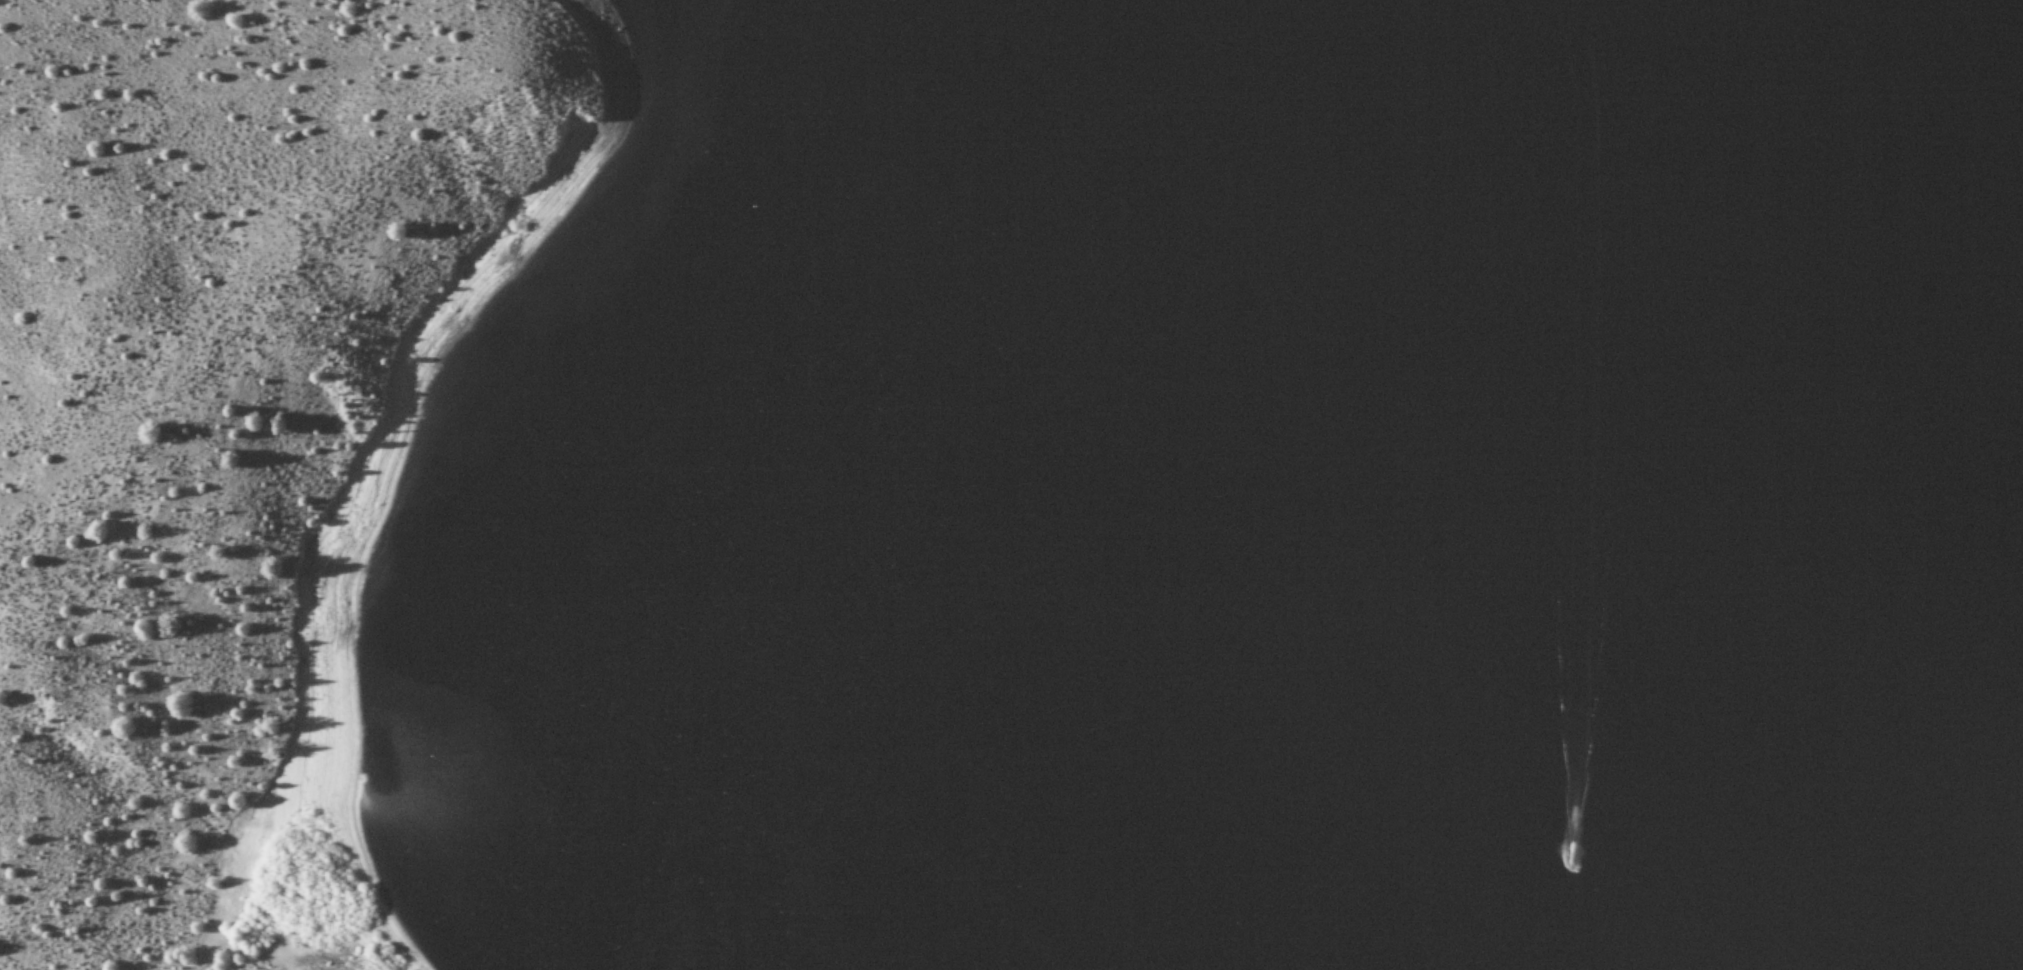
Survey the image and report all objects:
river: (2016, 872)

